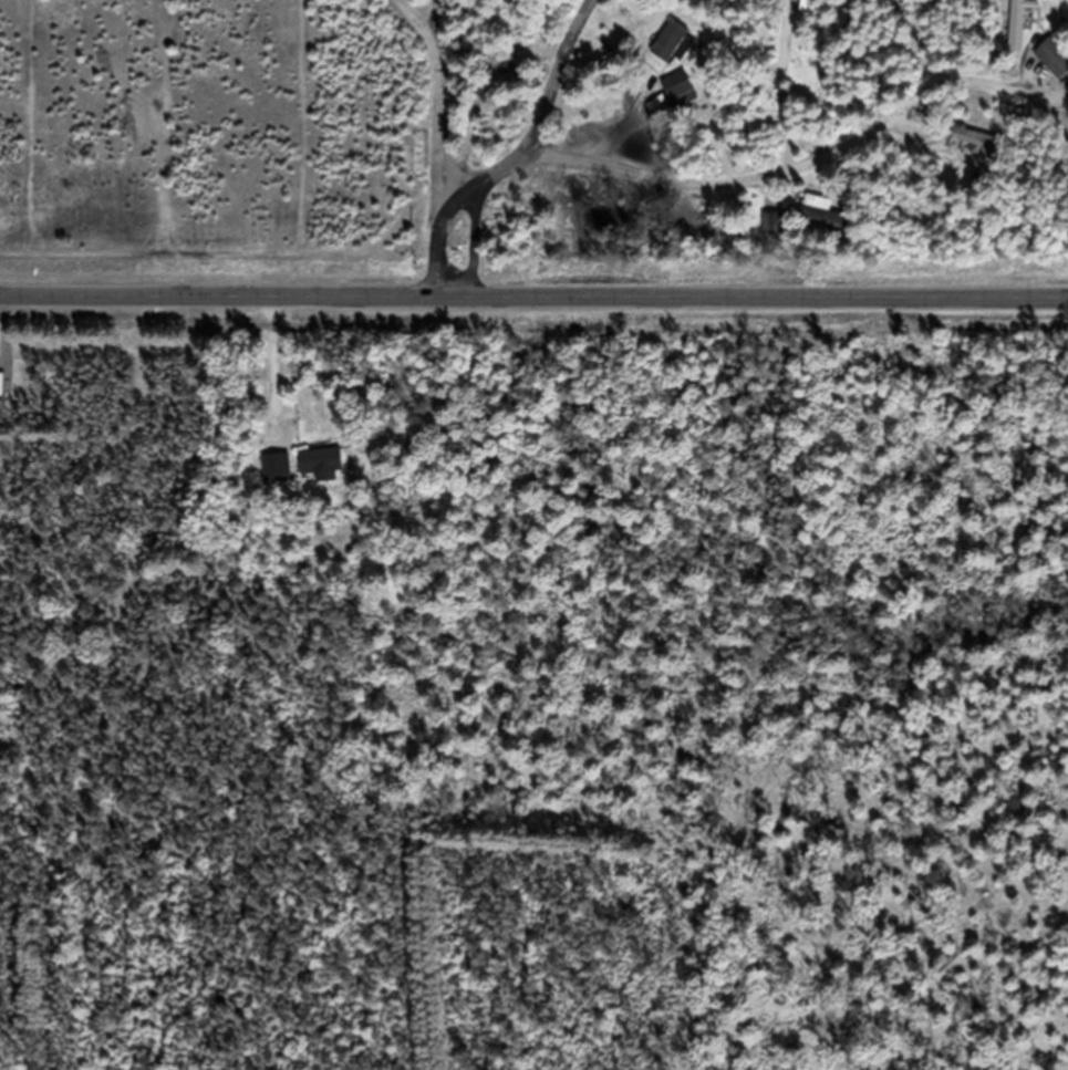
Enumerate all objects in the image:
building: (779, 3)
building: (843, 31)
building: (1018, 32)
building: (670, 52)
building: (1054, 69)
road: (557, 81)
building: (680, 102)
road: (440, 146)
building: (975, 150)
road: (462, 176)
road: (789, 178)
road: (462, 200)
building: (825, 226)
building: (773, 235)
road: (533, 308)
building: (322, 474)
building: (277, 477)

